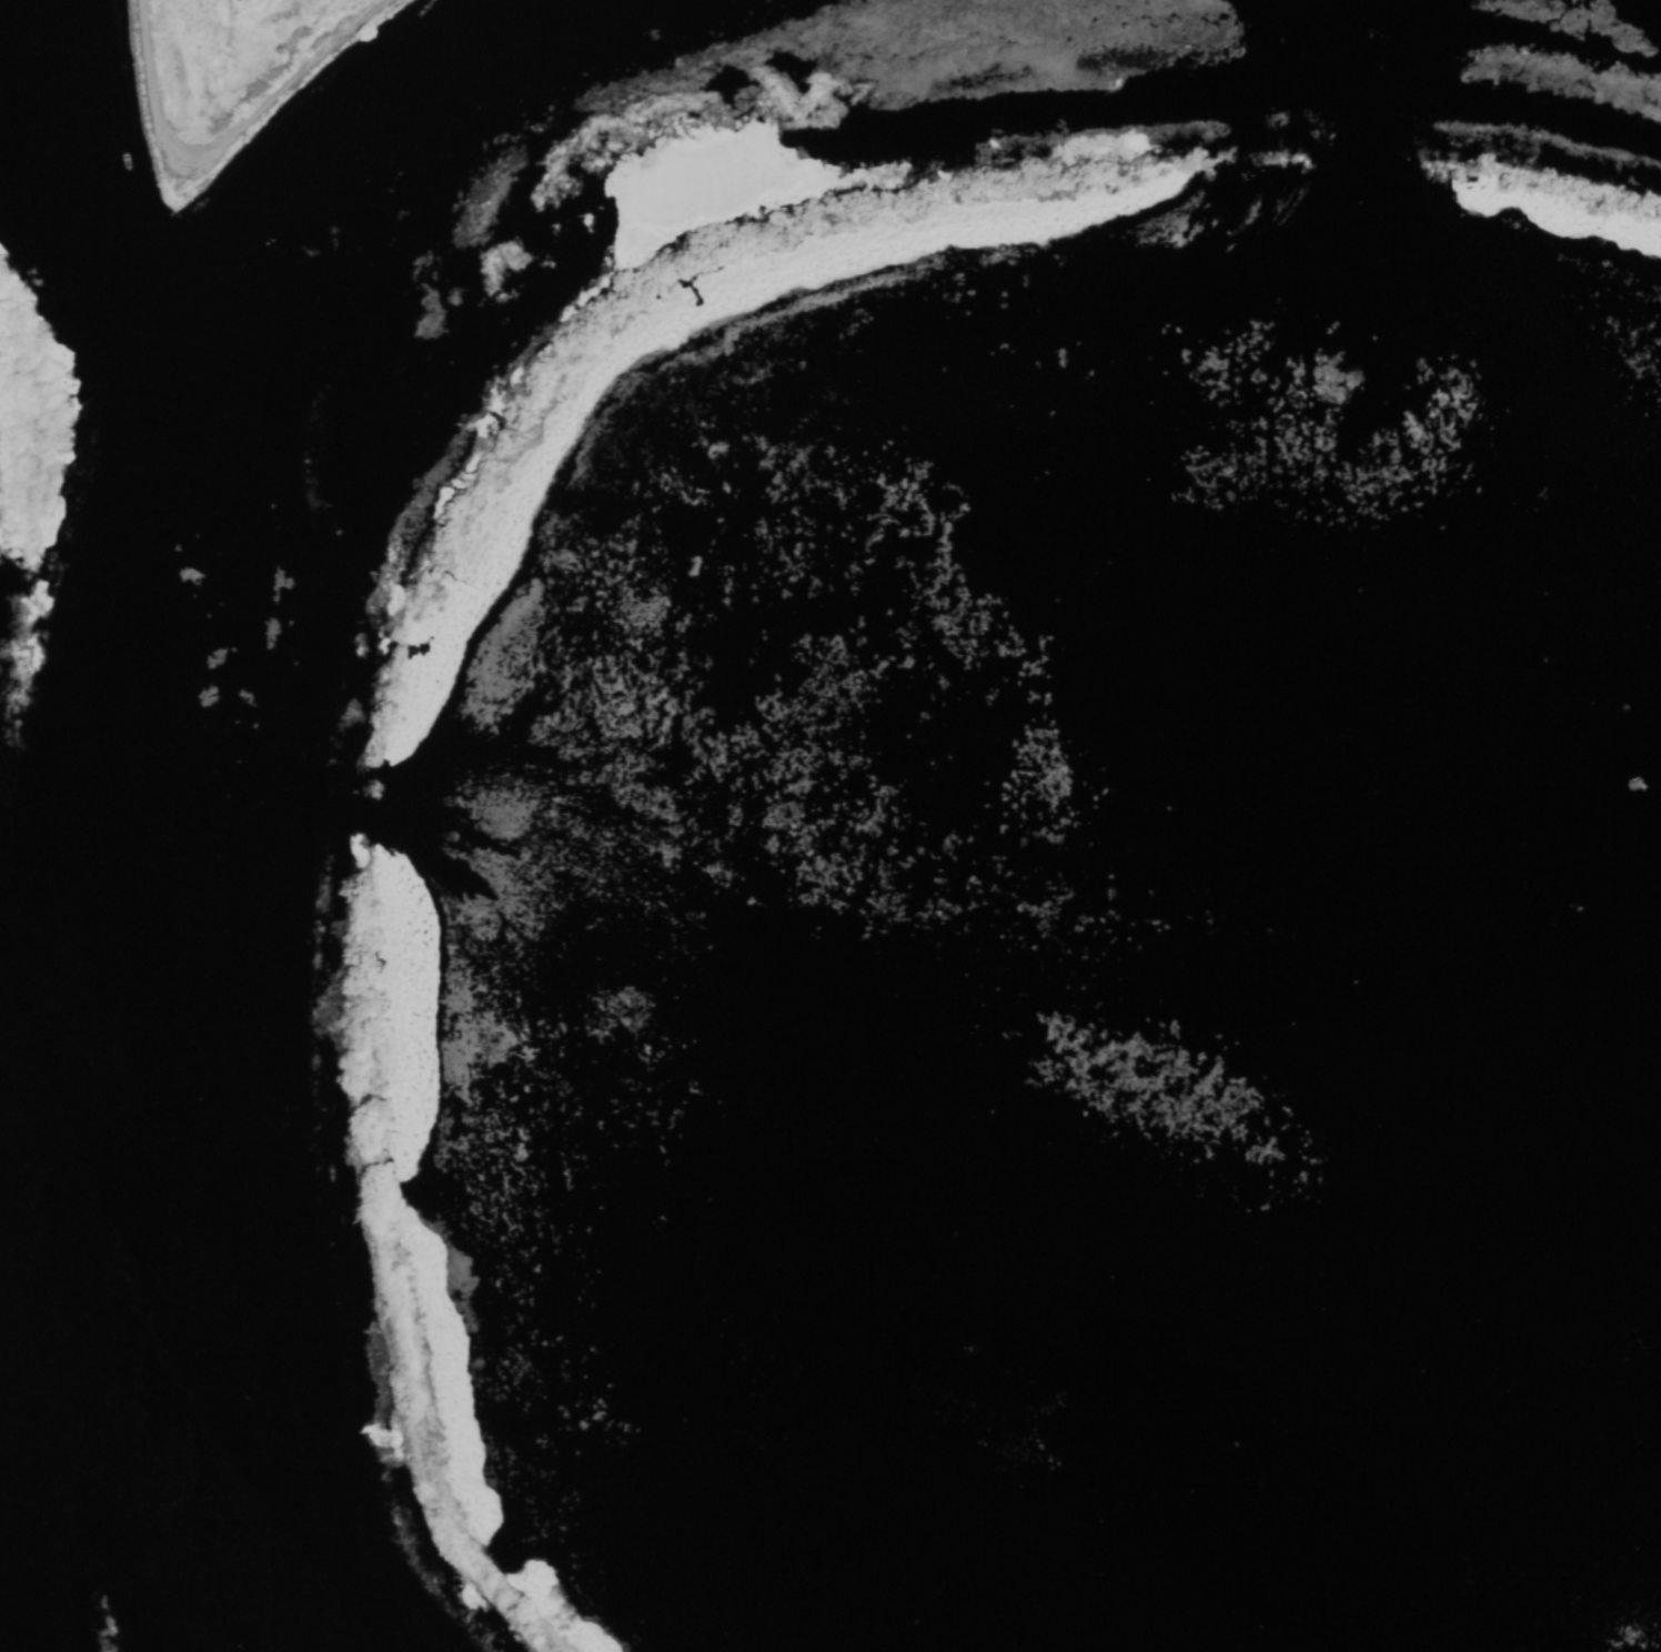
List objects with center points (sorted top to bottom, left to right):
crop: (214, 20)
river: (572, 108)

